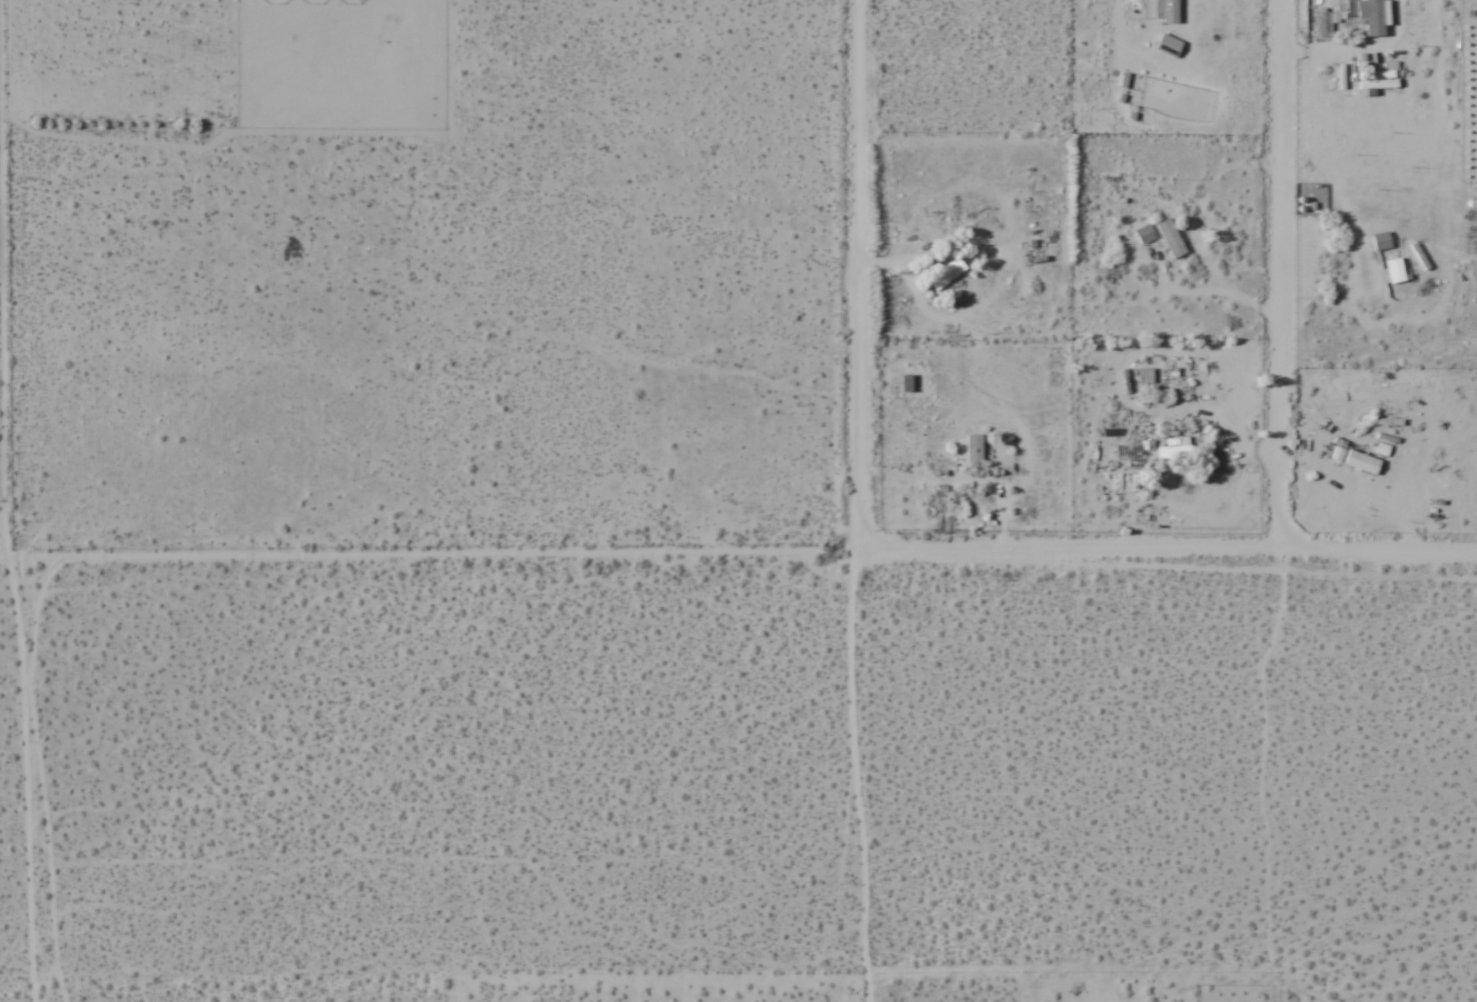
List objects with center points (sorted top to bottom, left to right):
building: (1166, 11)
building: (1363, 18)
building: (1325, 23)
building: (1168, 46)
building: (1387, 71)
building: (1309, 204)
building: (1144, 234)
building: (1170, 239)
building: (1381, 242)
building: (1395, 269)
building: (946, 274)
road: (1276, 275)
building: (1144, 375)
building: (906, 382)
building: (974, 447)
building: (1173, 452)
building: (1362, 462)
road: (6, 501)
road: (861, 501)
road: (738, 552)

